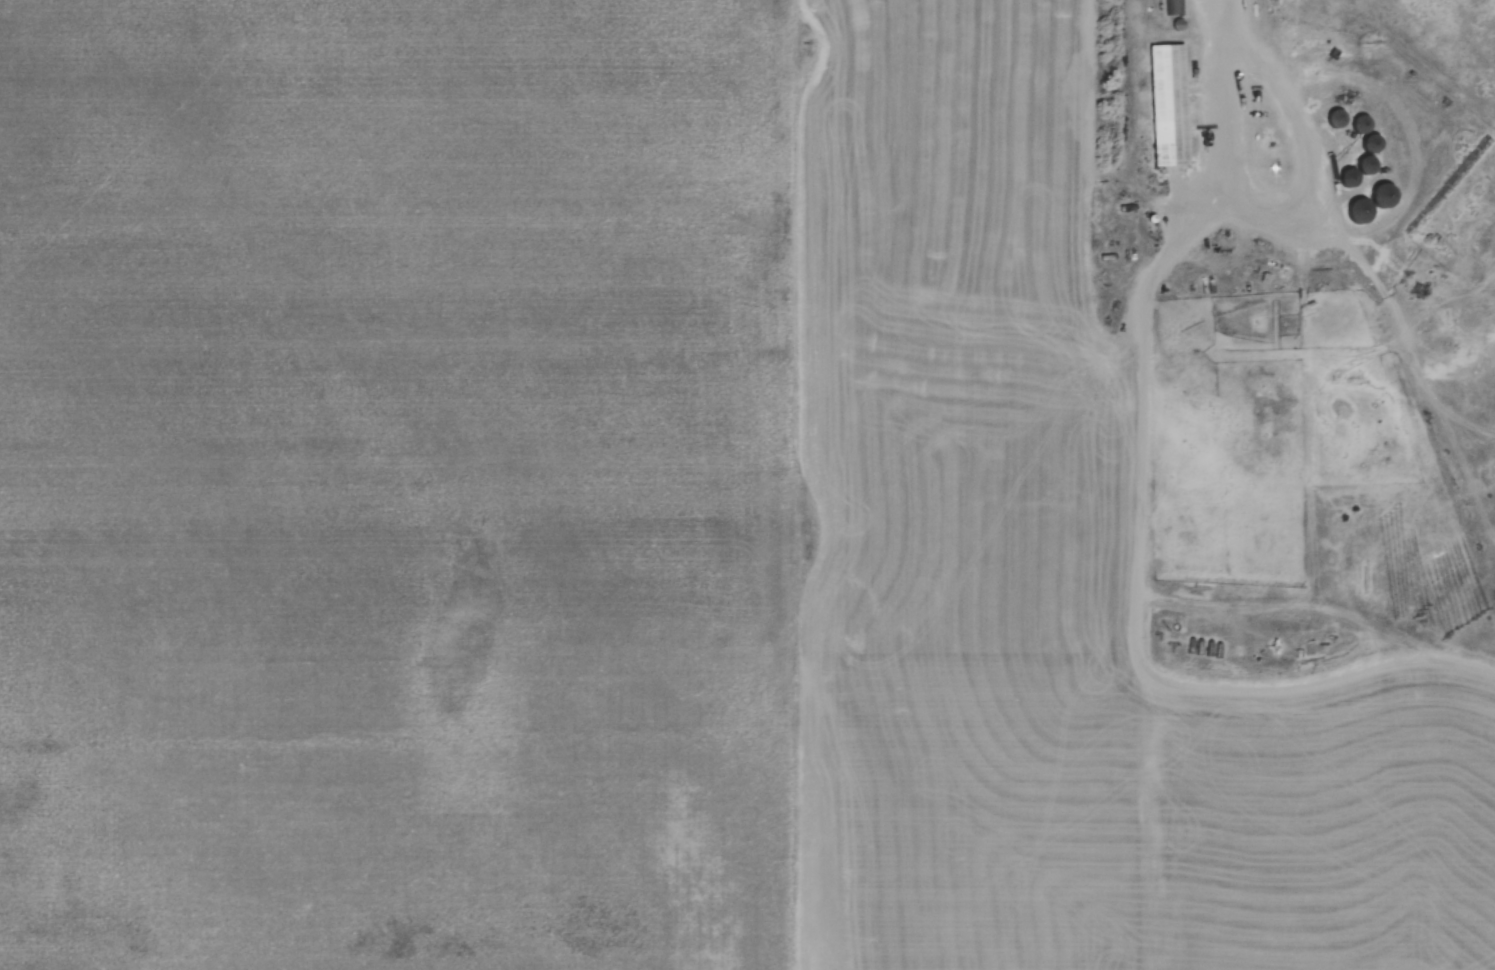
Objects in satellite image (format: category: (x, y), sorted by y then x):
building: (1175, 8)
road: (1229, 19)
building: (1291, 36)
building: (1171, 105)
building: (1339, 119)
building: (1353, 177)
road: (1275, 211)
building: (1362, 211)

